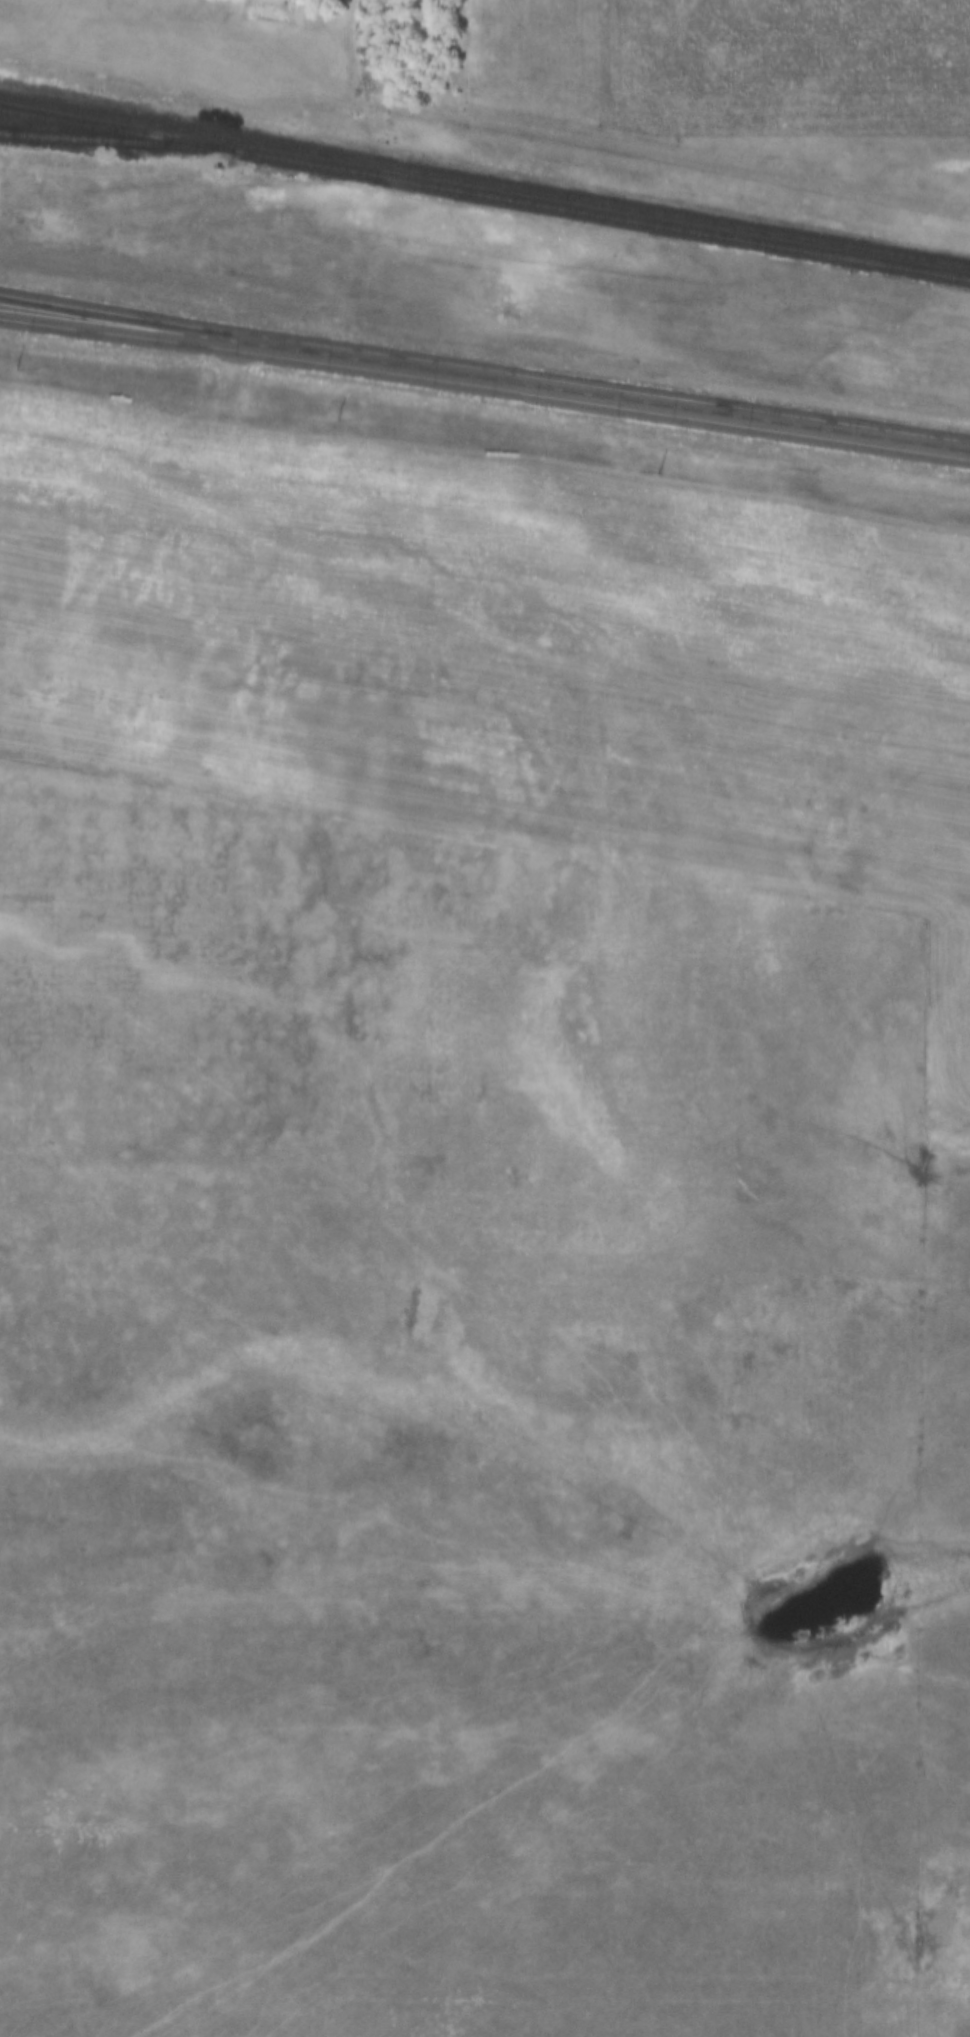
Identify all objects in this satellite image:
road: (40, 35)
railway: (116, 141)
railway: (484, 183)
railway: (485, 195)
road: (484, 380)
road: (229, 425)

